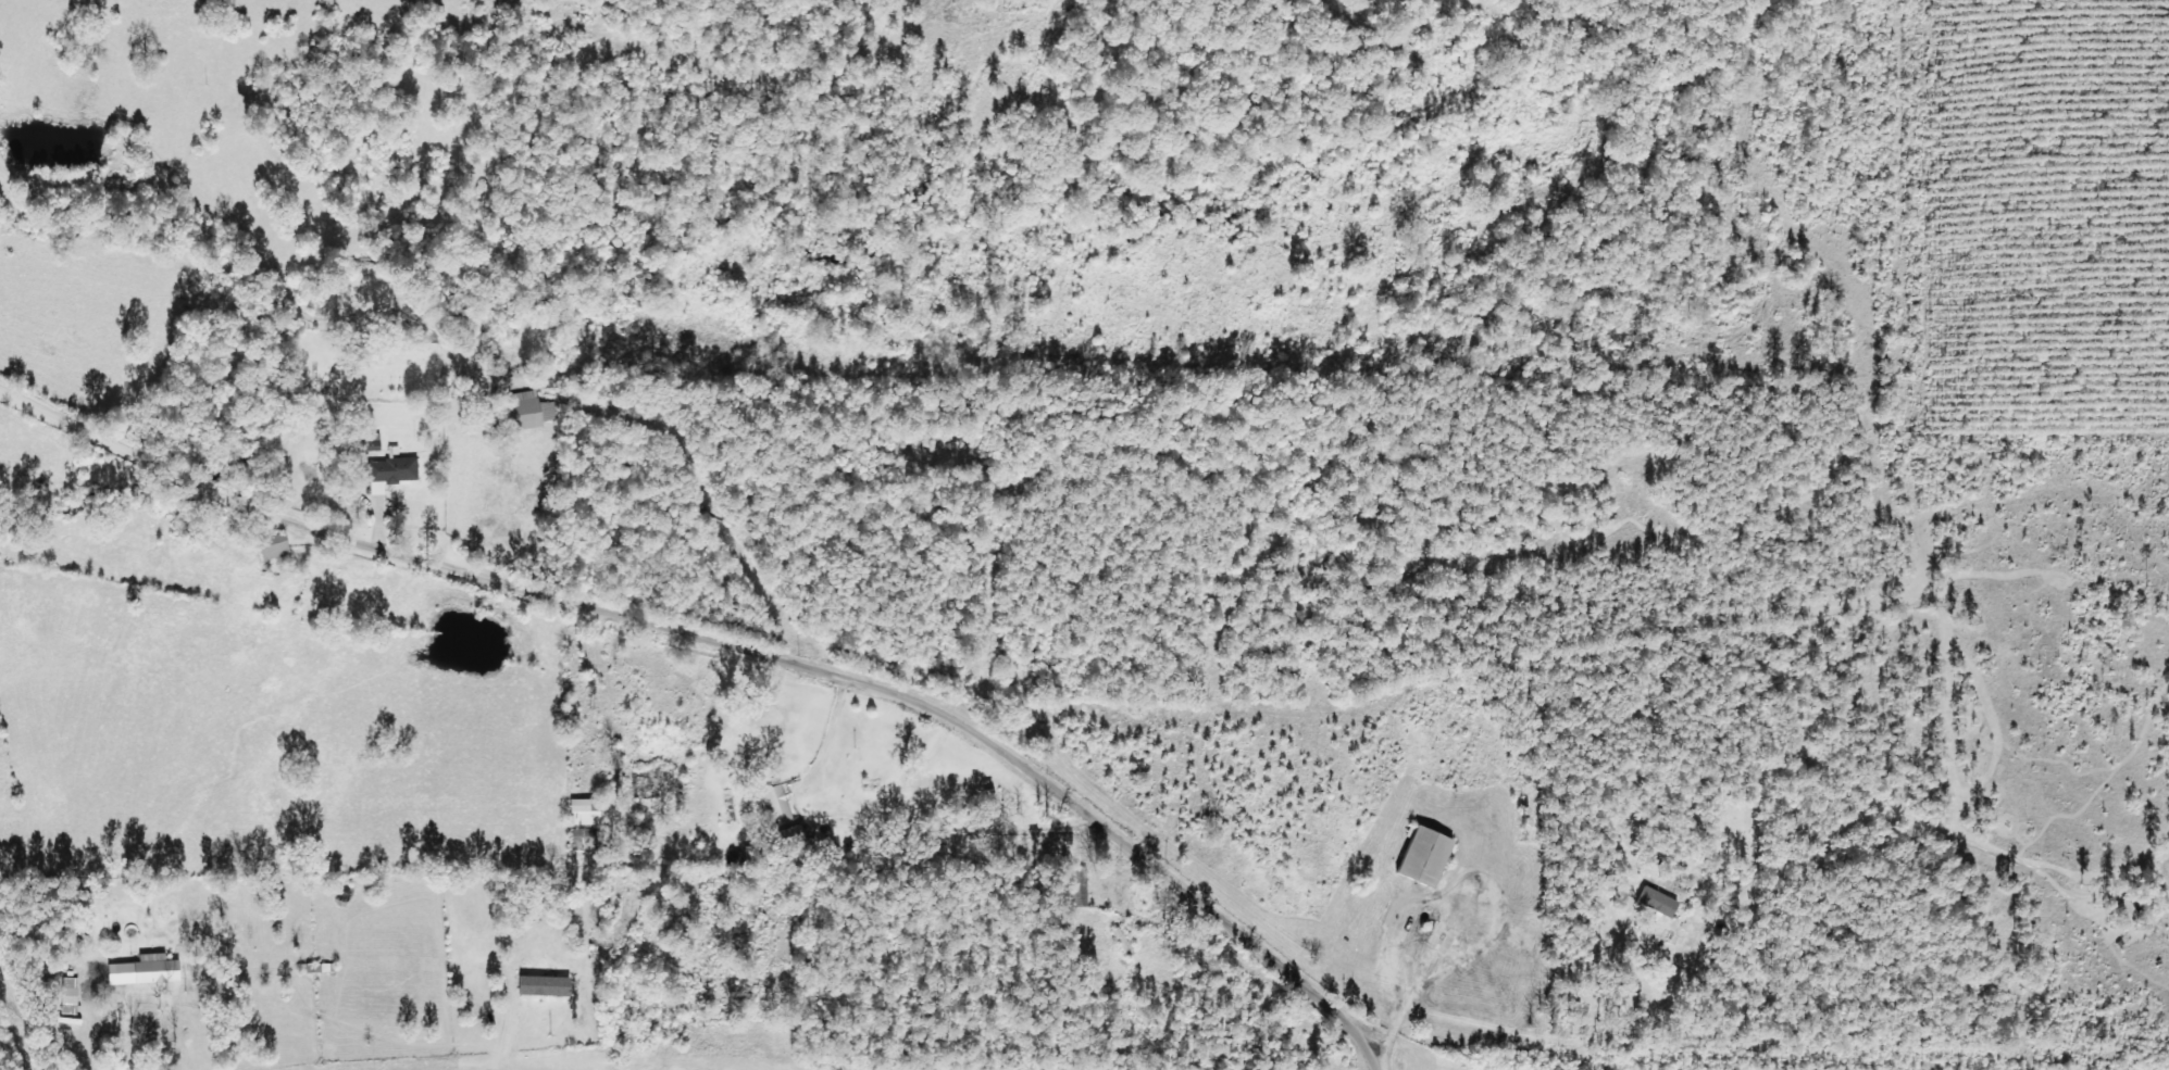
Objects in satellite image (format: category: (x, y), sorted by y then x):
building: (553, 413)
building: (533, 415)
building: (399, 471)
road: (2127, 492)
building: (281, 547)
road: (479, 576)
building: (774, 806)
building: (591, 811)
building: (789, 836)
building: (1422, 858)
road: (1183, 891)
building: (1657, 903)
building: (162, 969)
building: (549, 985)
building: (74, 996)

